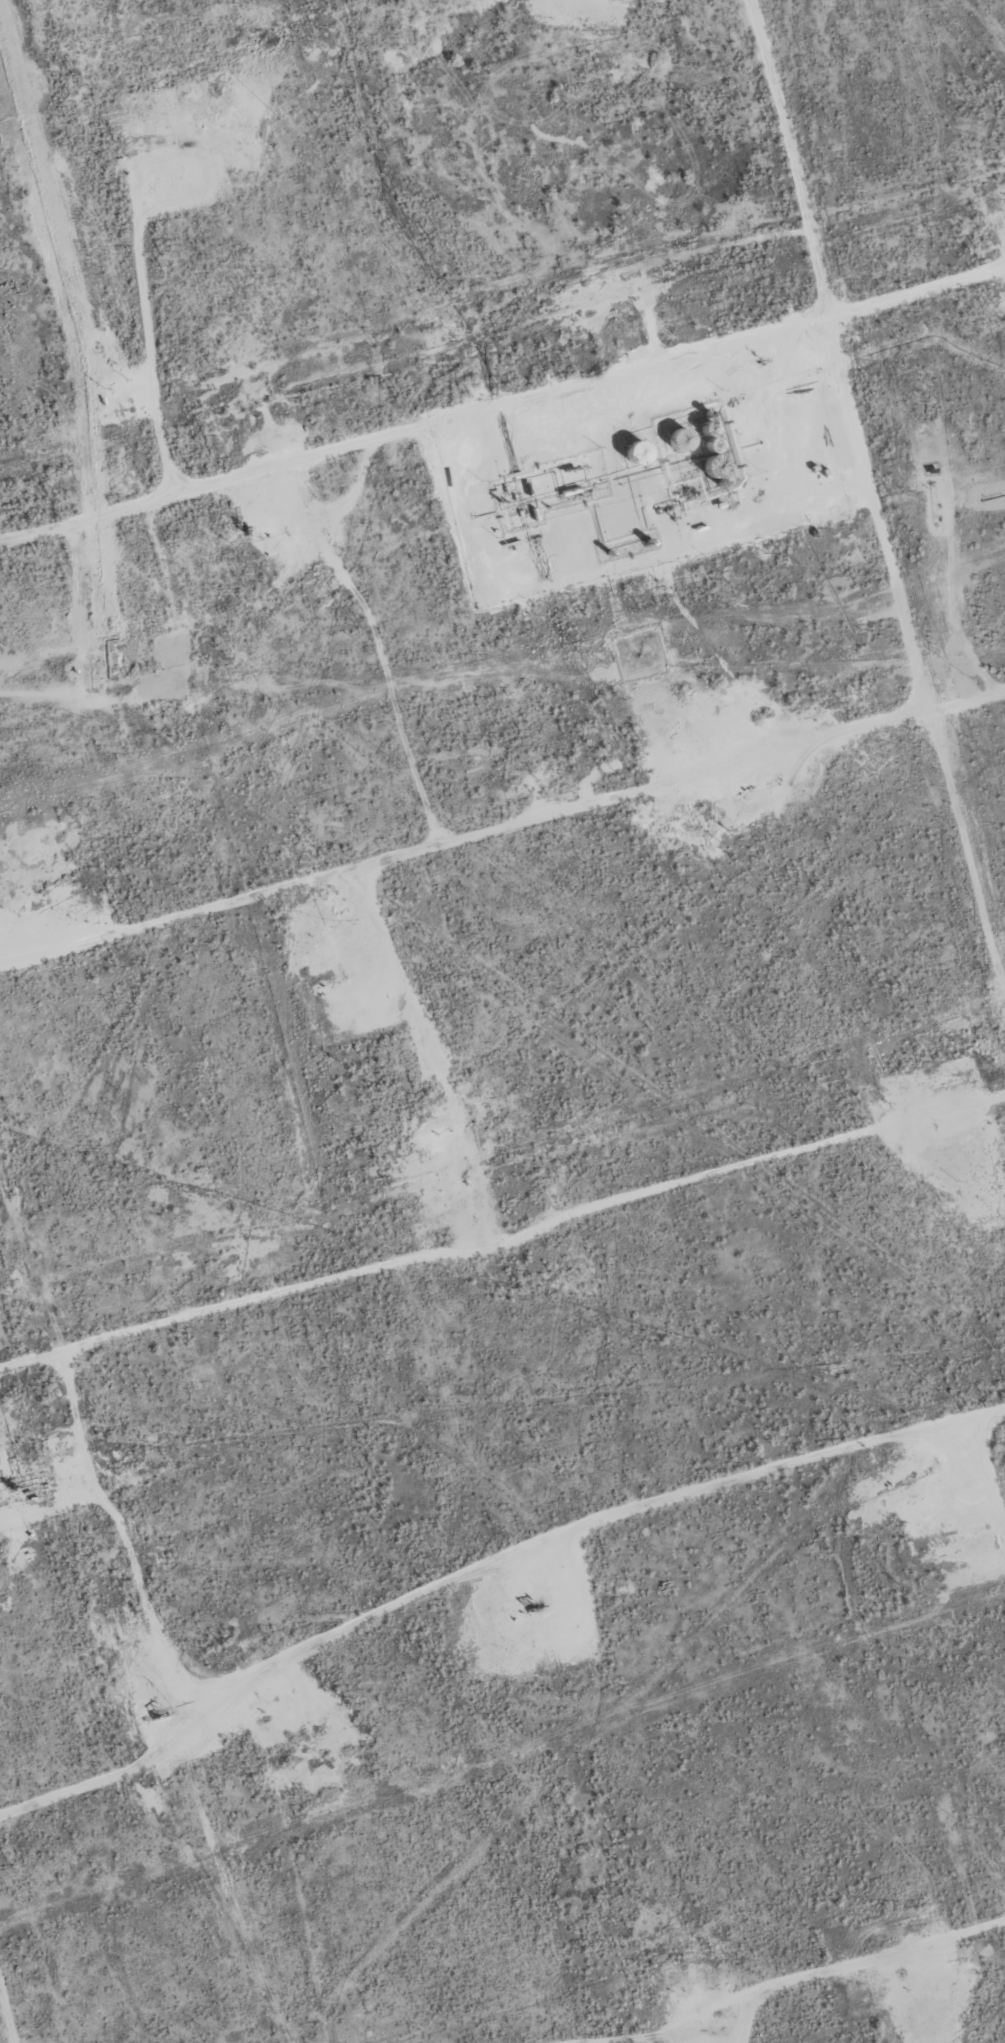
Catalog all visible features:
road: (876, 496)
road: (968, 703)
road: (150, 894)

